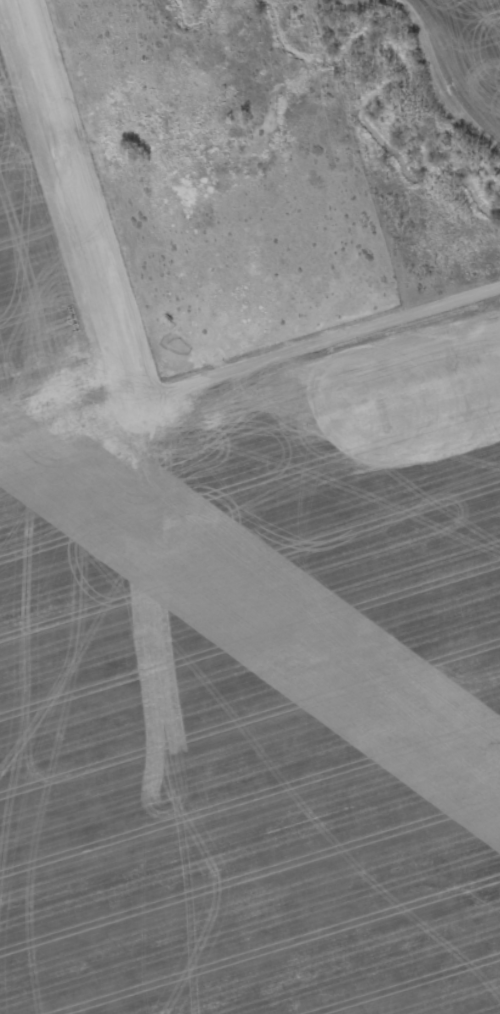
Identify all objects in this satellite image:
road: (249, 361)

